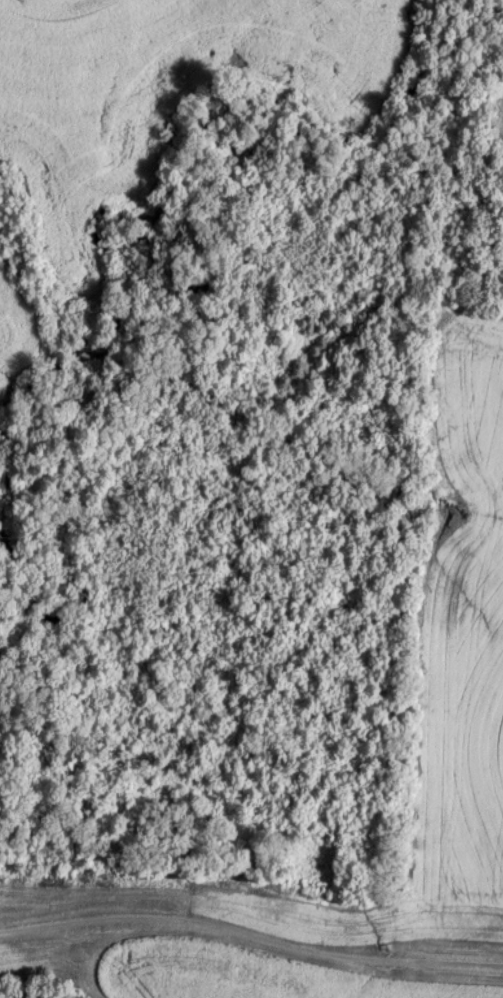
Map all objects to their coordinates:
road: (251, 933)

